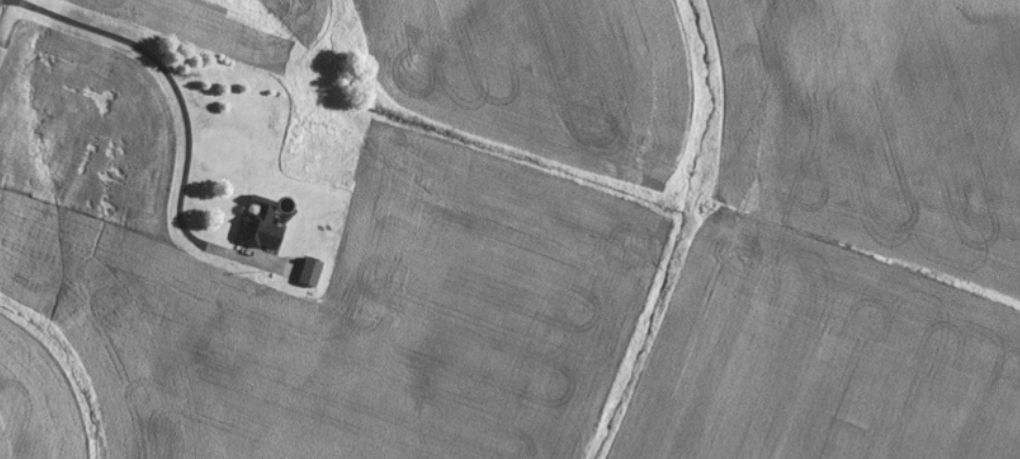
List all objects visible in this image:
building: (258, 225)
building: (307, 272)

